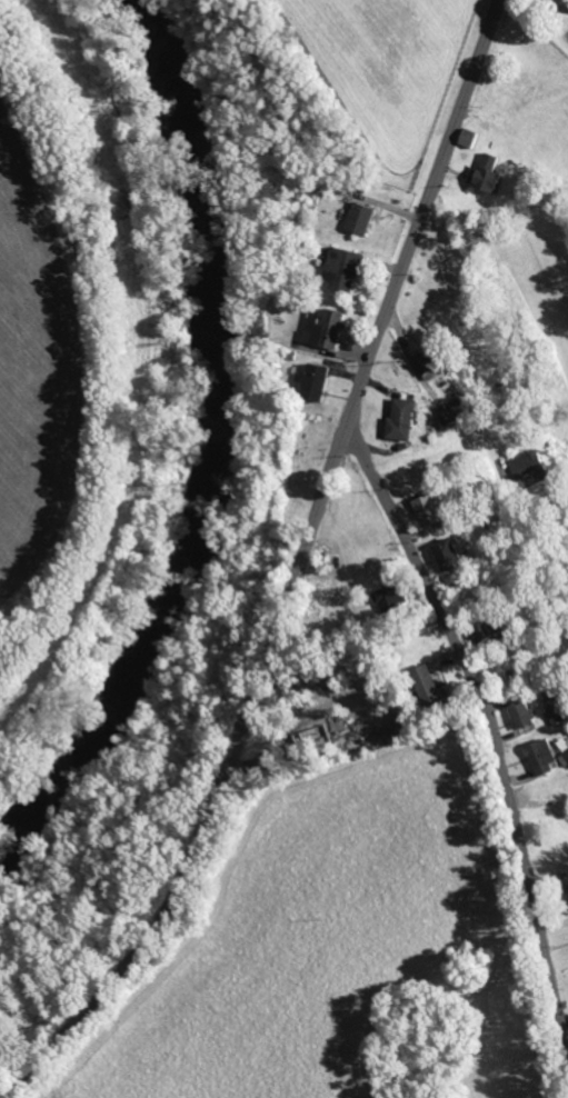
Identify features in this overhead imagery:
building: (484, 174)
building: (358, 218)
river: (232, 250)
building: (340, 270)
building: (325, 330)
building: (423, 362)
building: (312, 382)
building: (399, 420)
building: (528, 465)
building: (427, 510)
road: (465, 512)
building: (446, 555)
road: (298, 572)
building: (385, 597)
building: (427, 687)
building: (558, 713)
building: (520, 715)
road: (492, 727)
building: (323, 728)
building: (565, 745)
building: (540, 757)

